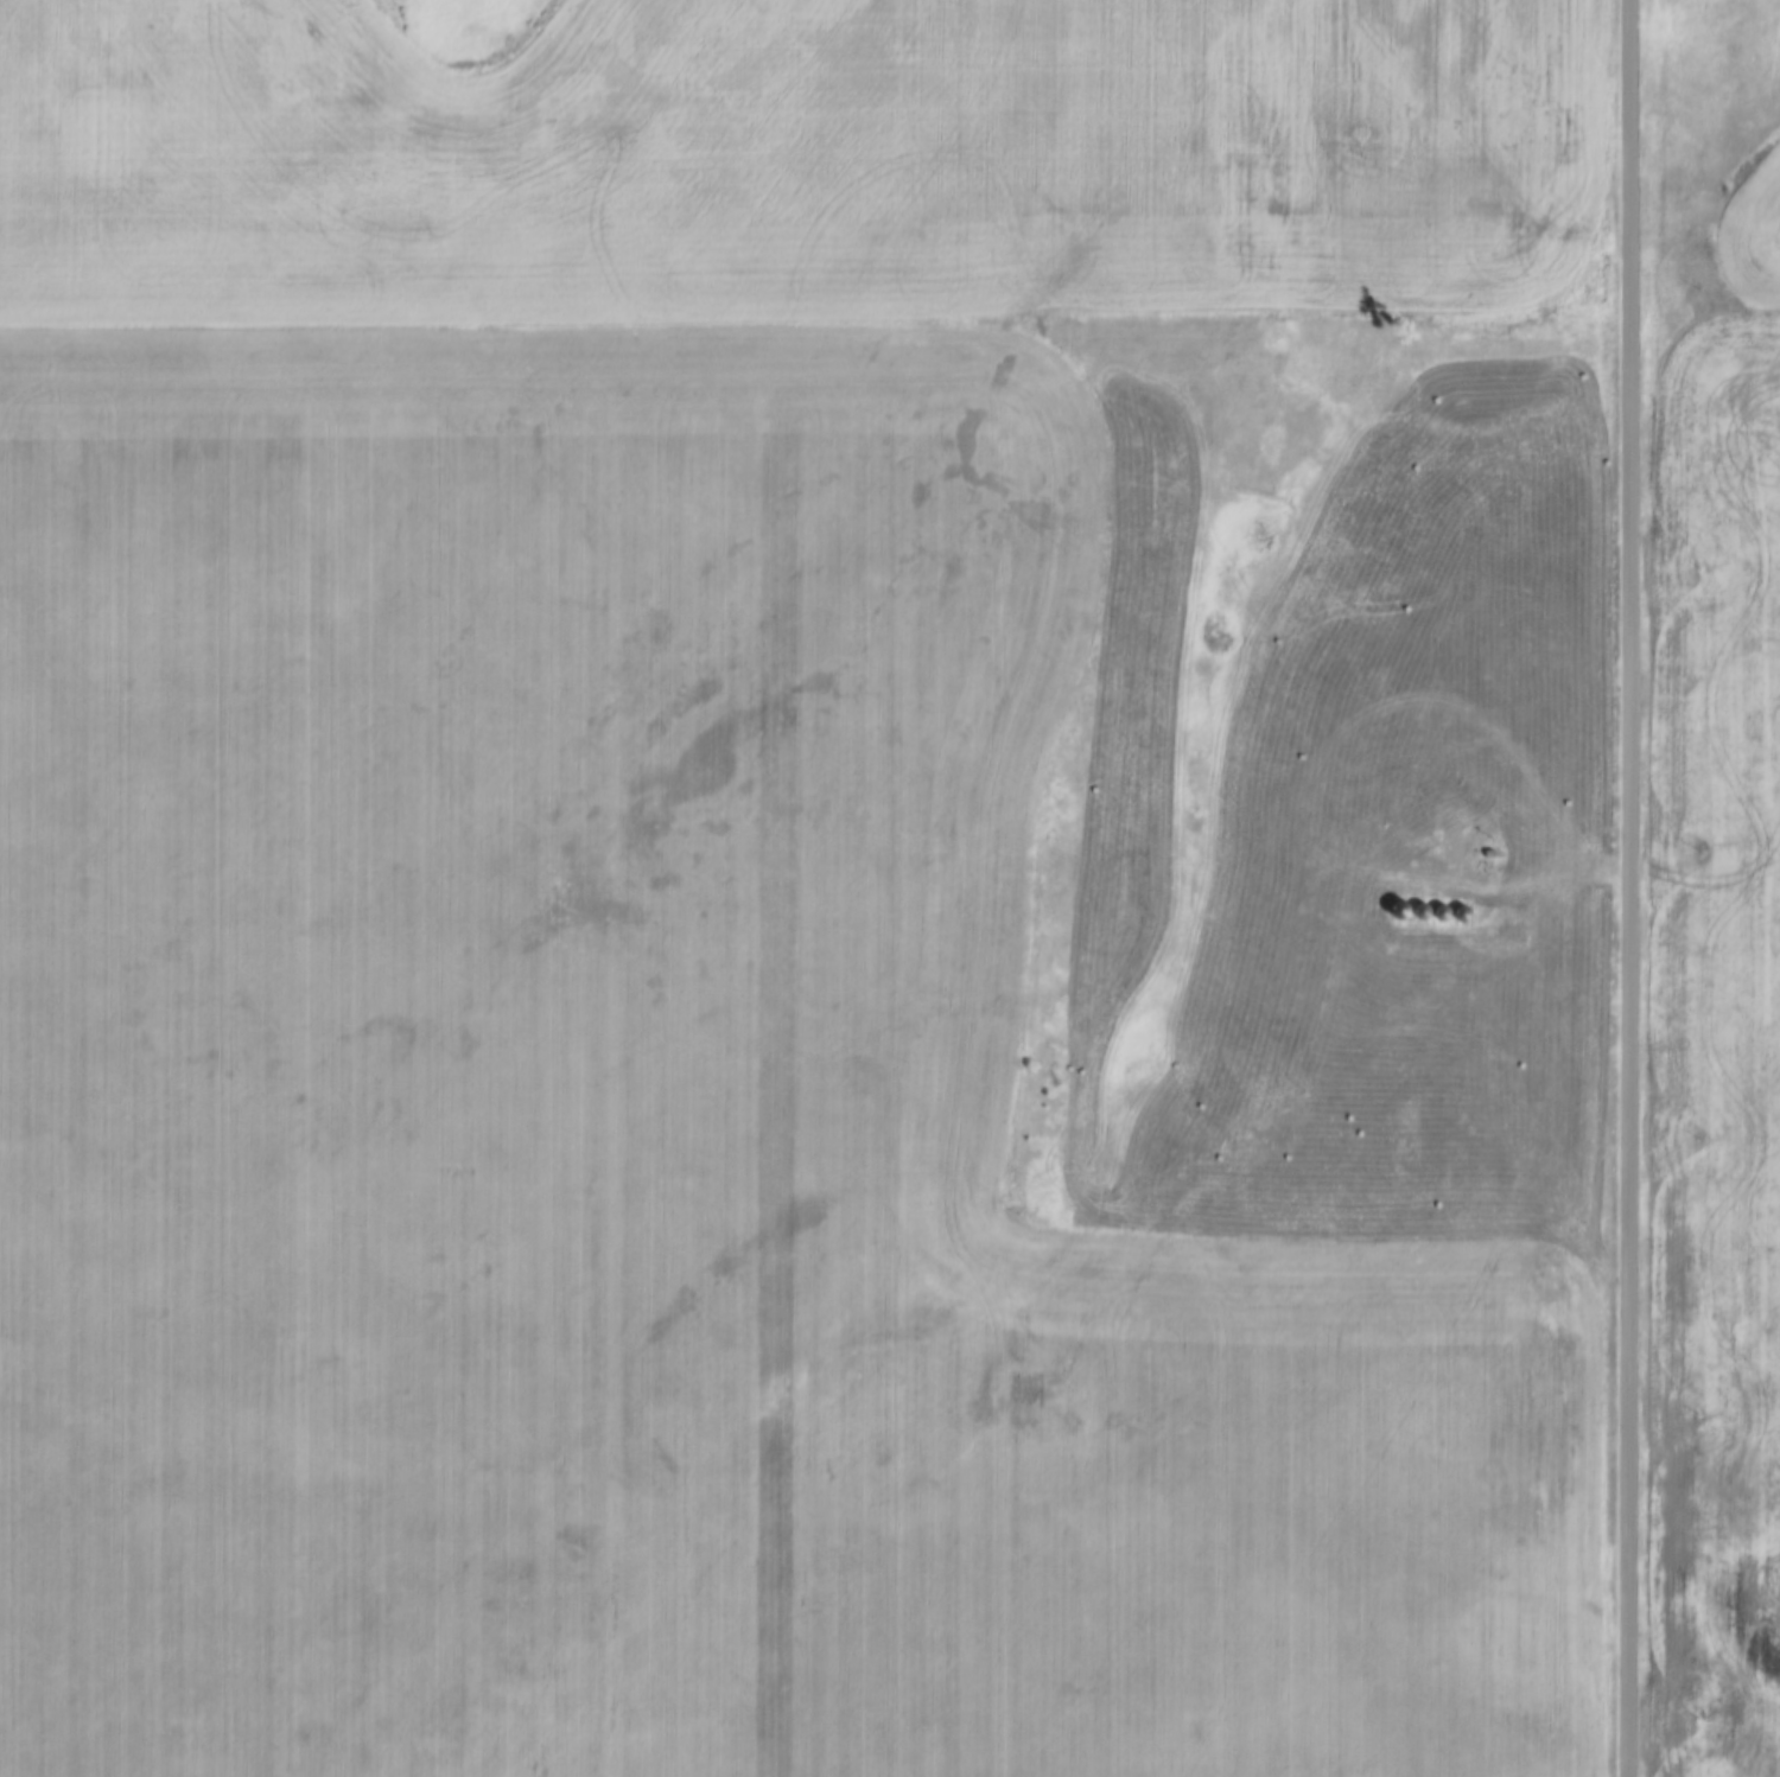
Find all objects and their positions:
road: (1526, 861)
road: (1626, 888)

